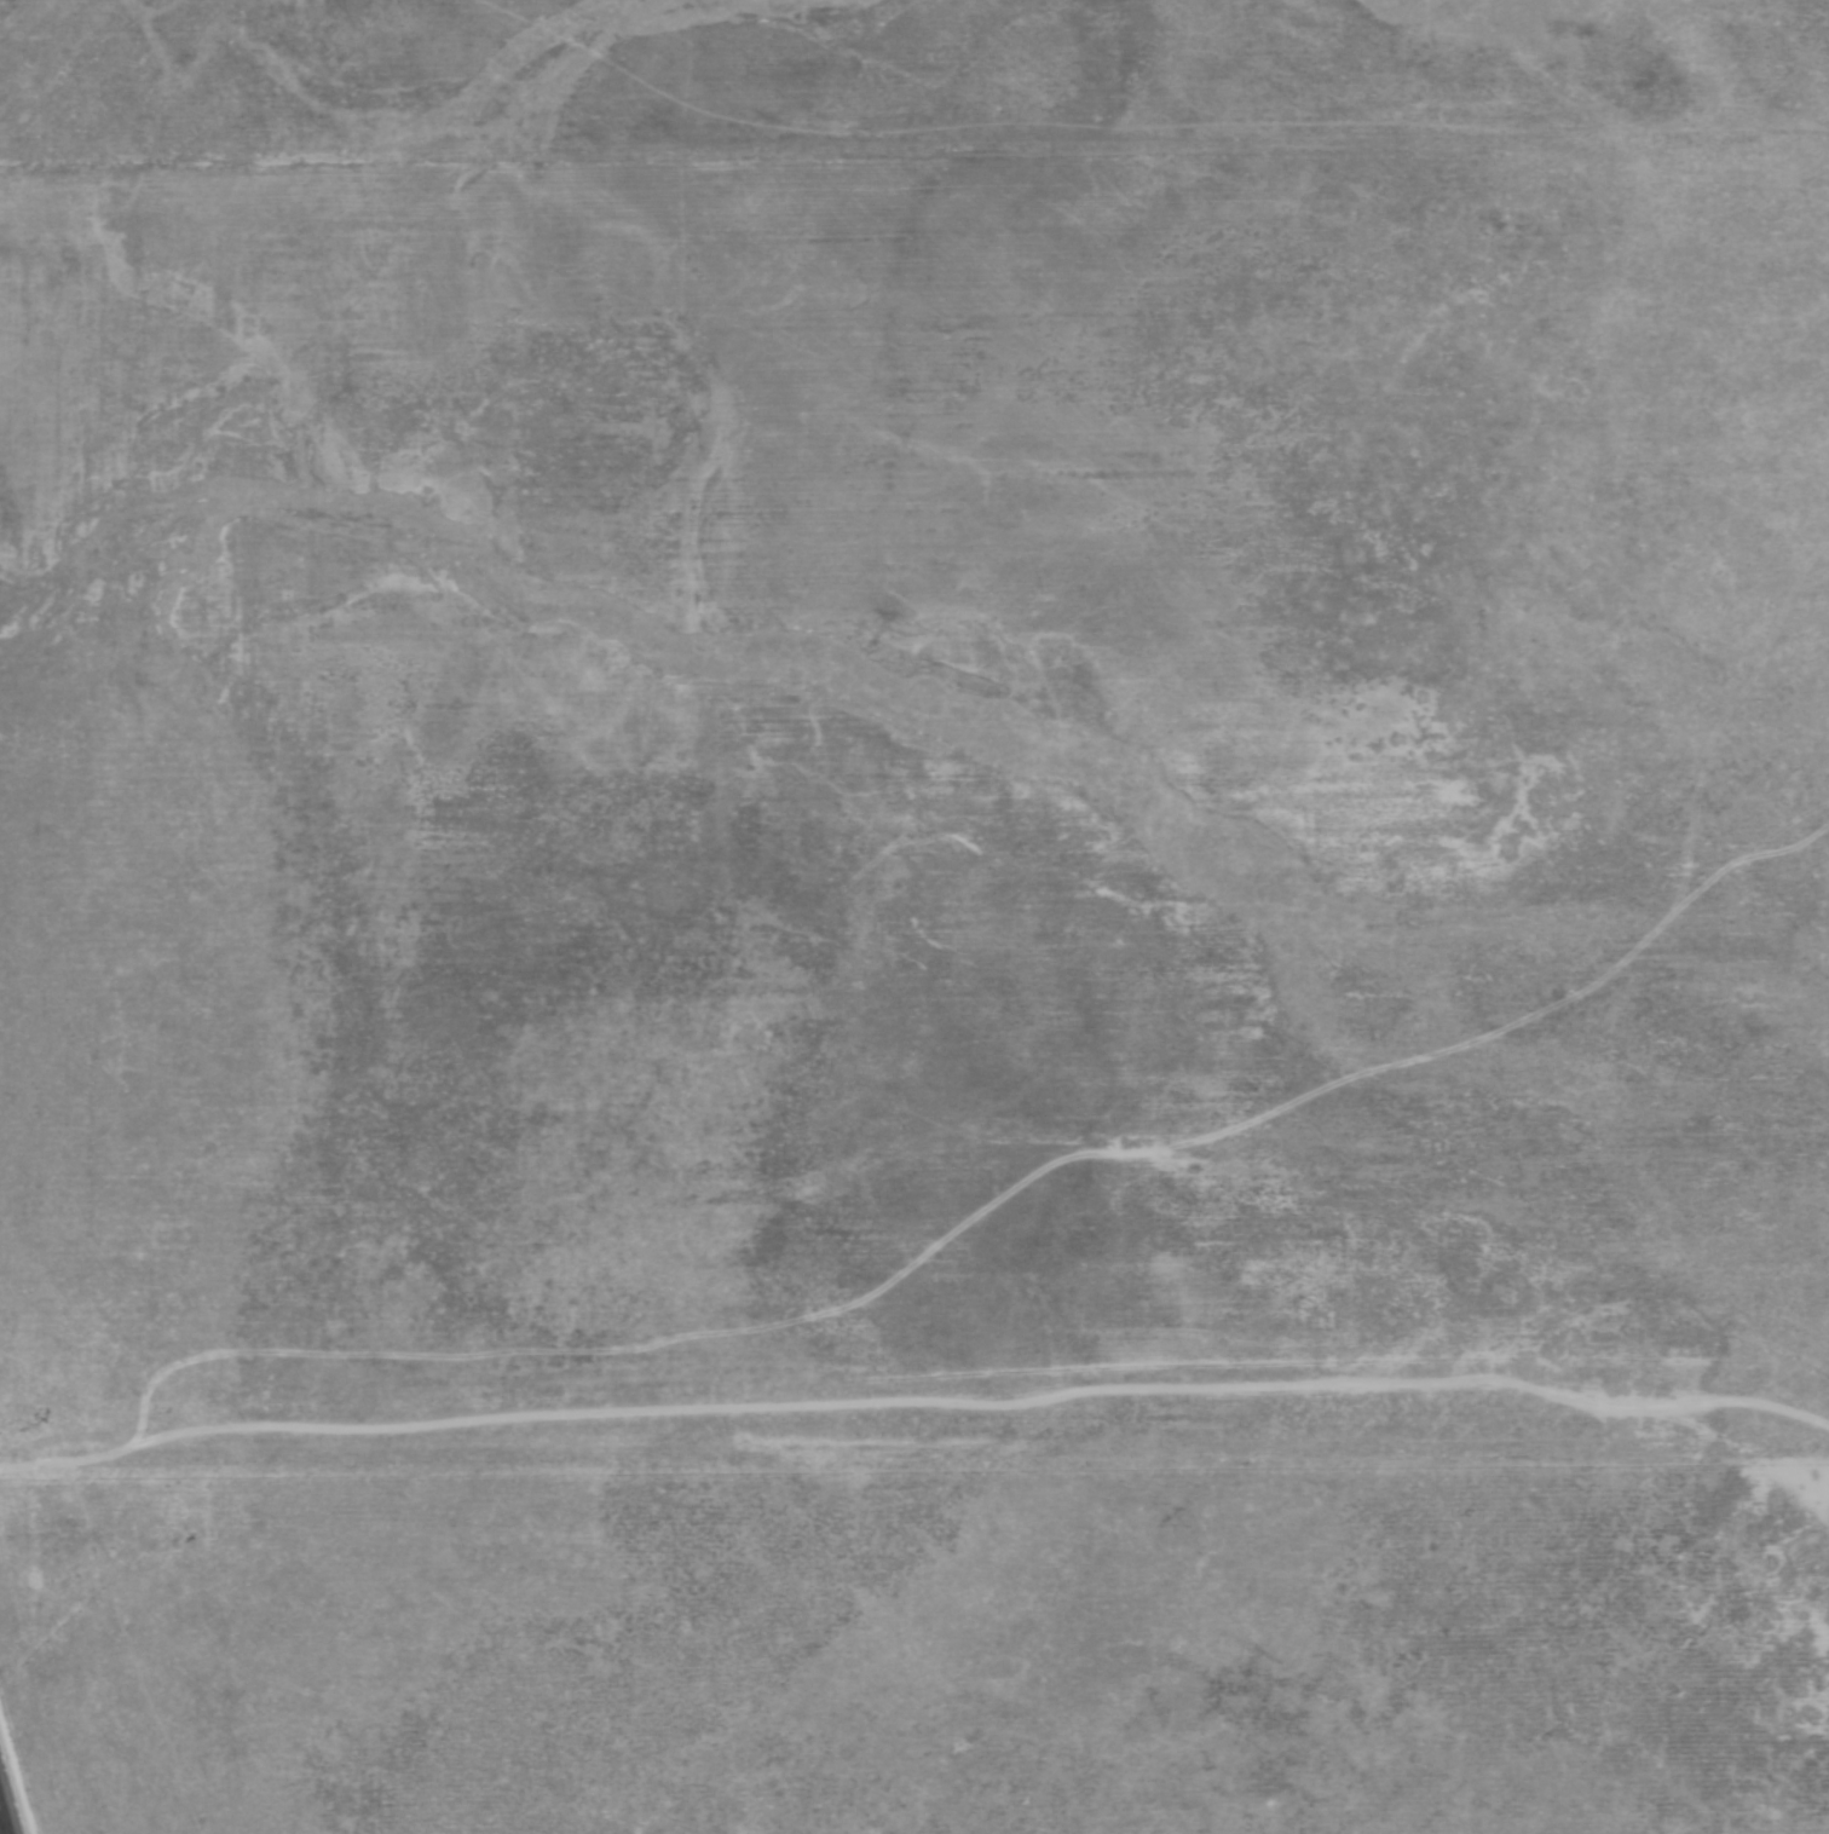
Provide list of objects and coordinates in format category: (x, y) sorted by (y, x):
road: (5, 1815)

